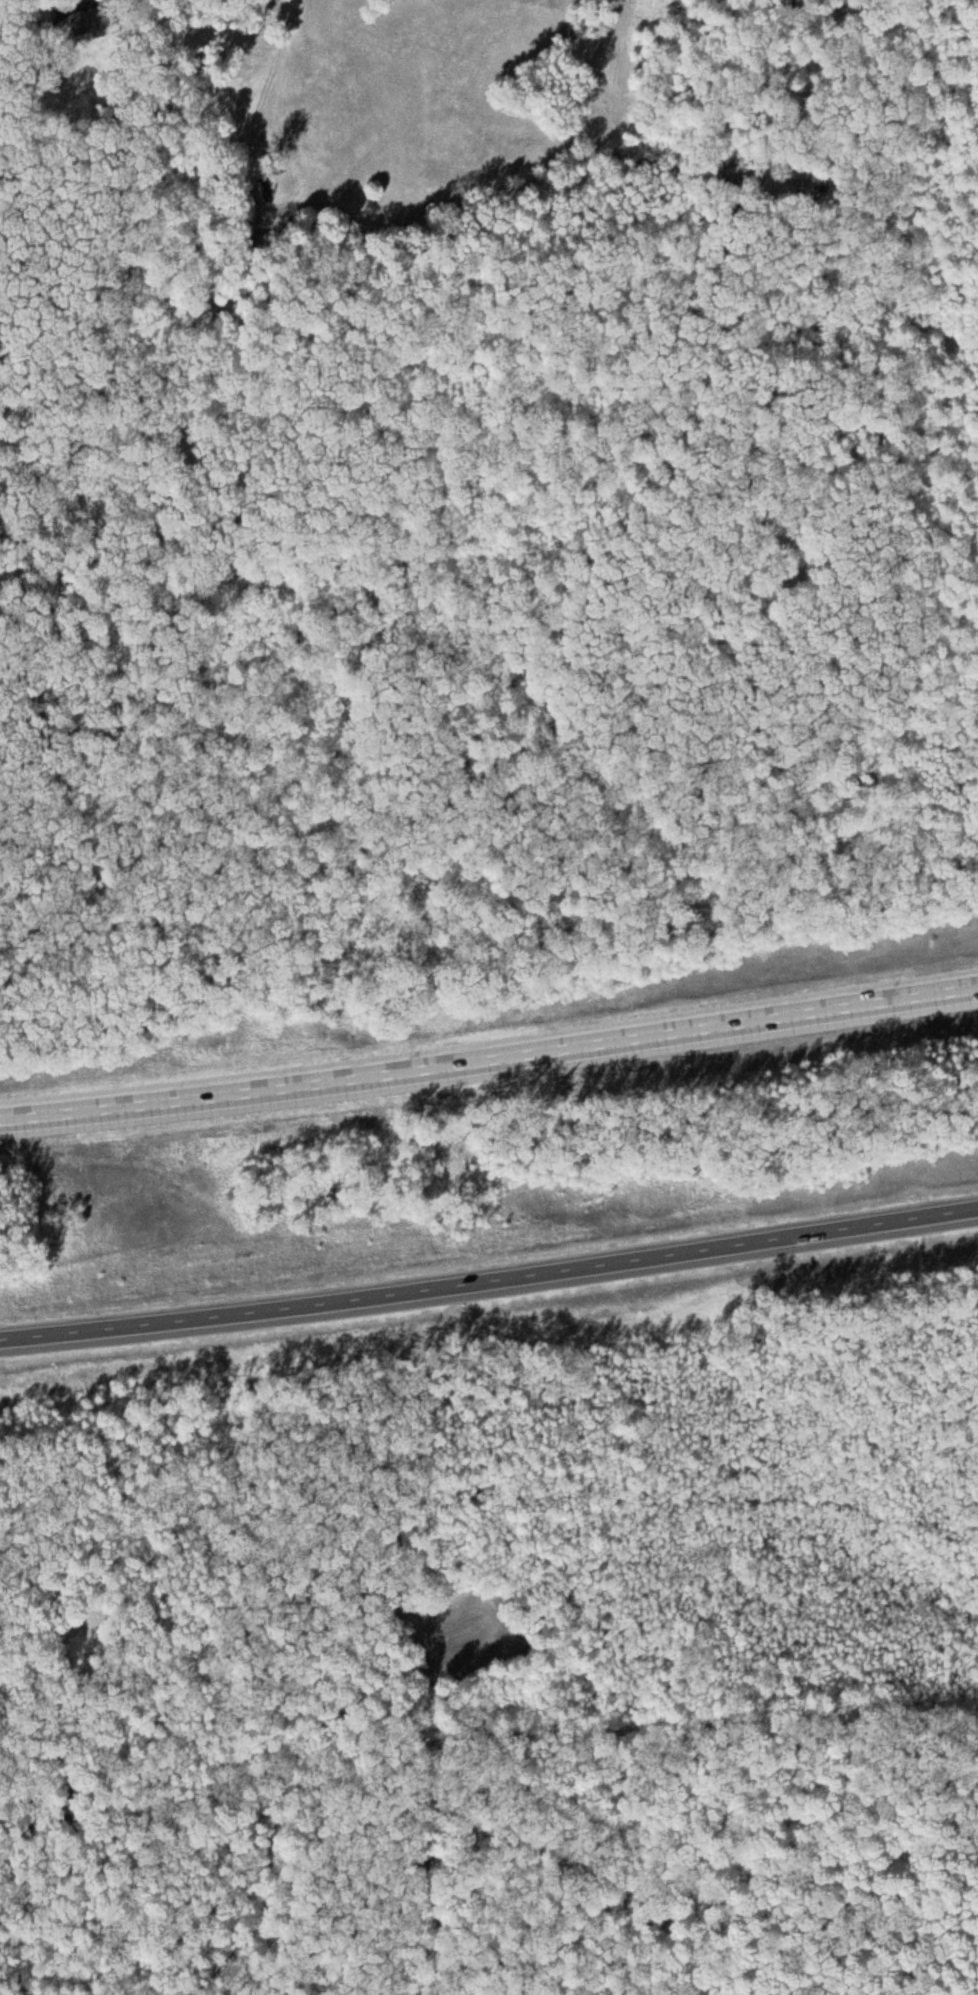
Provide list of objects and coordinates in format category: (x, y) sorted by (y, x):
road: (490, 1057)
road: (489, 1277)

